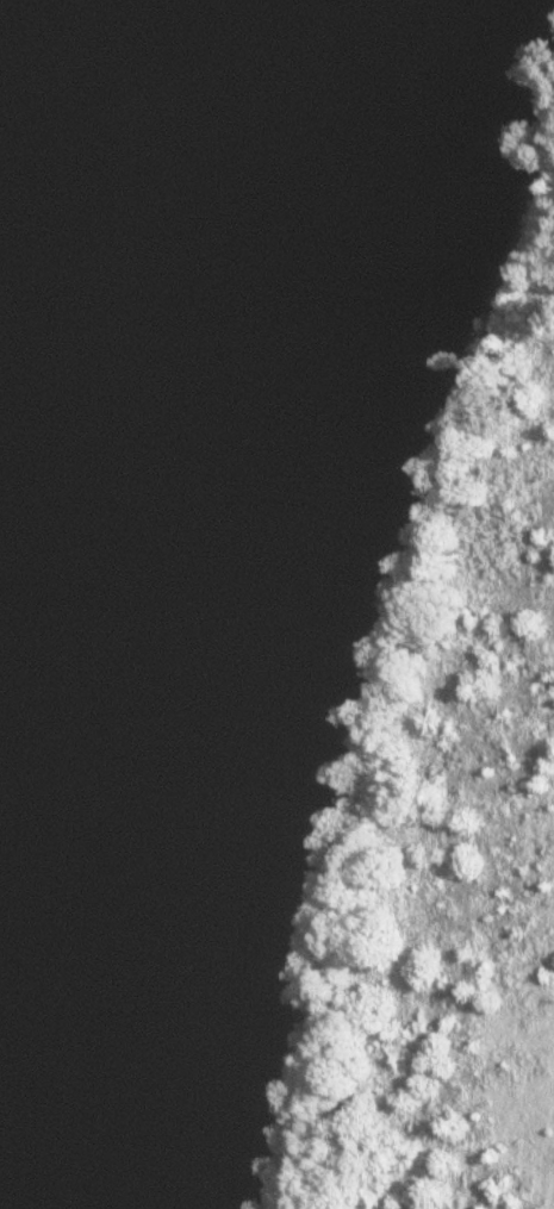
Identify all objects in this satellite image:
river: (31, 137)

